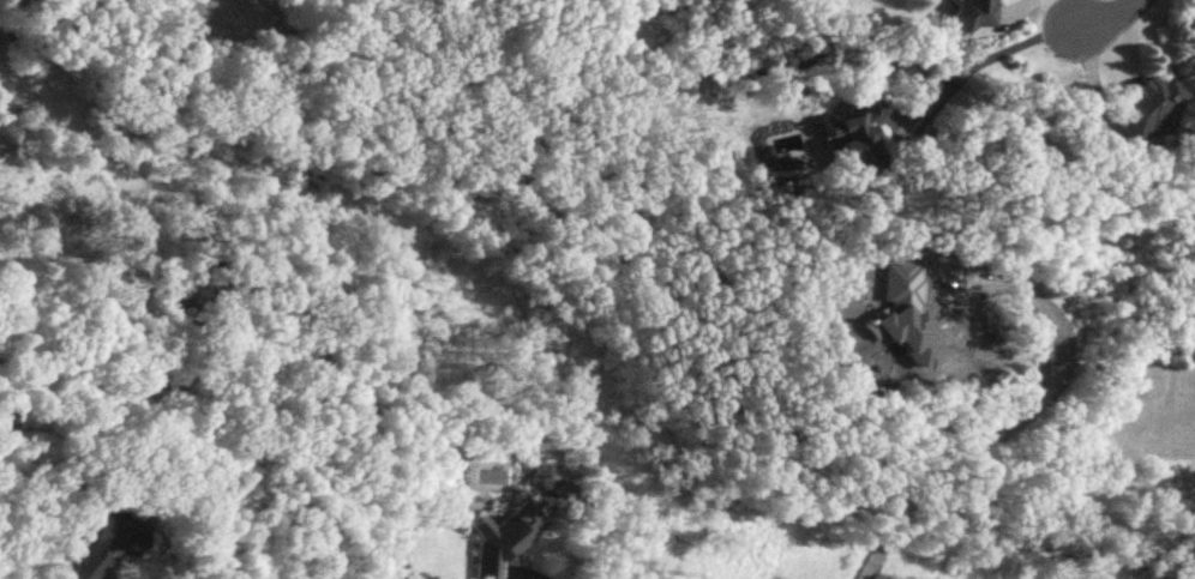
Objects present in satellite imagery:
building: (971, 13)
road: (1100, 13)
road: (990, 54)
road: (1091, 78)
building: (1143, 105)
building: (854, 135)
road: (1028, 420)
building: (502, 537)
building: (106, 543)
road: (526, 578)

